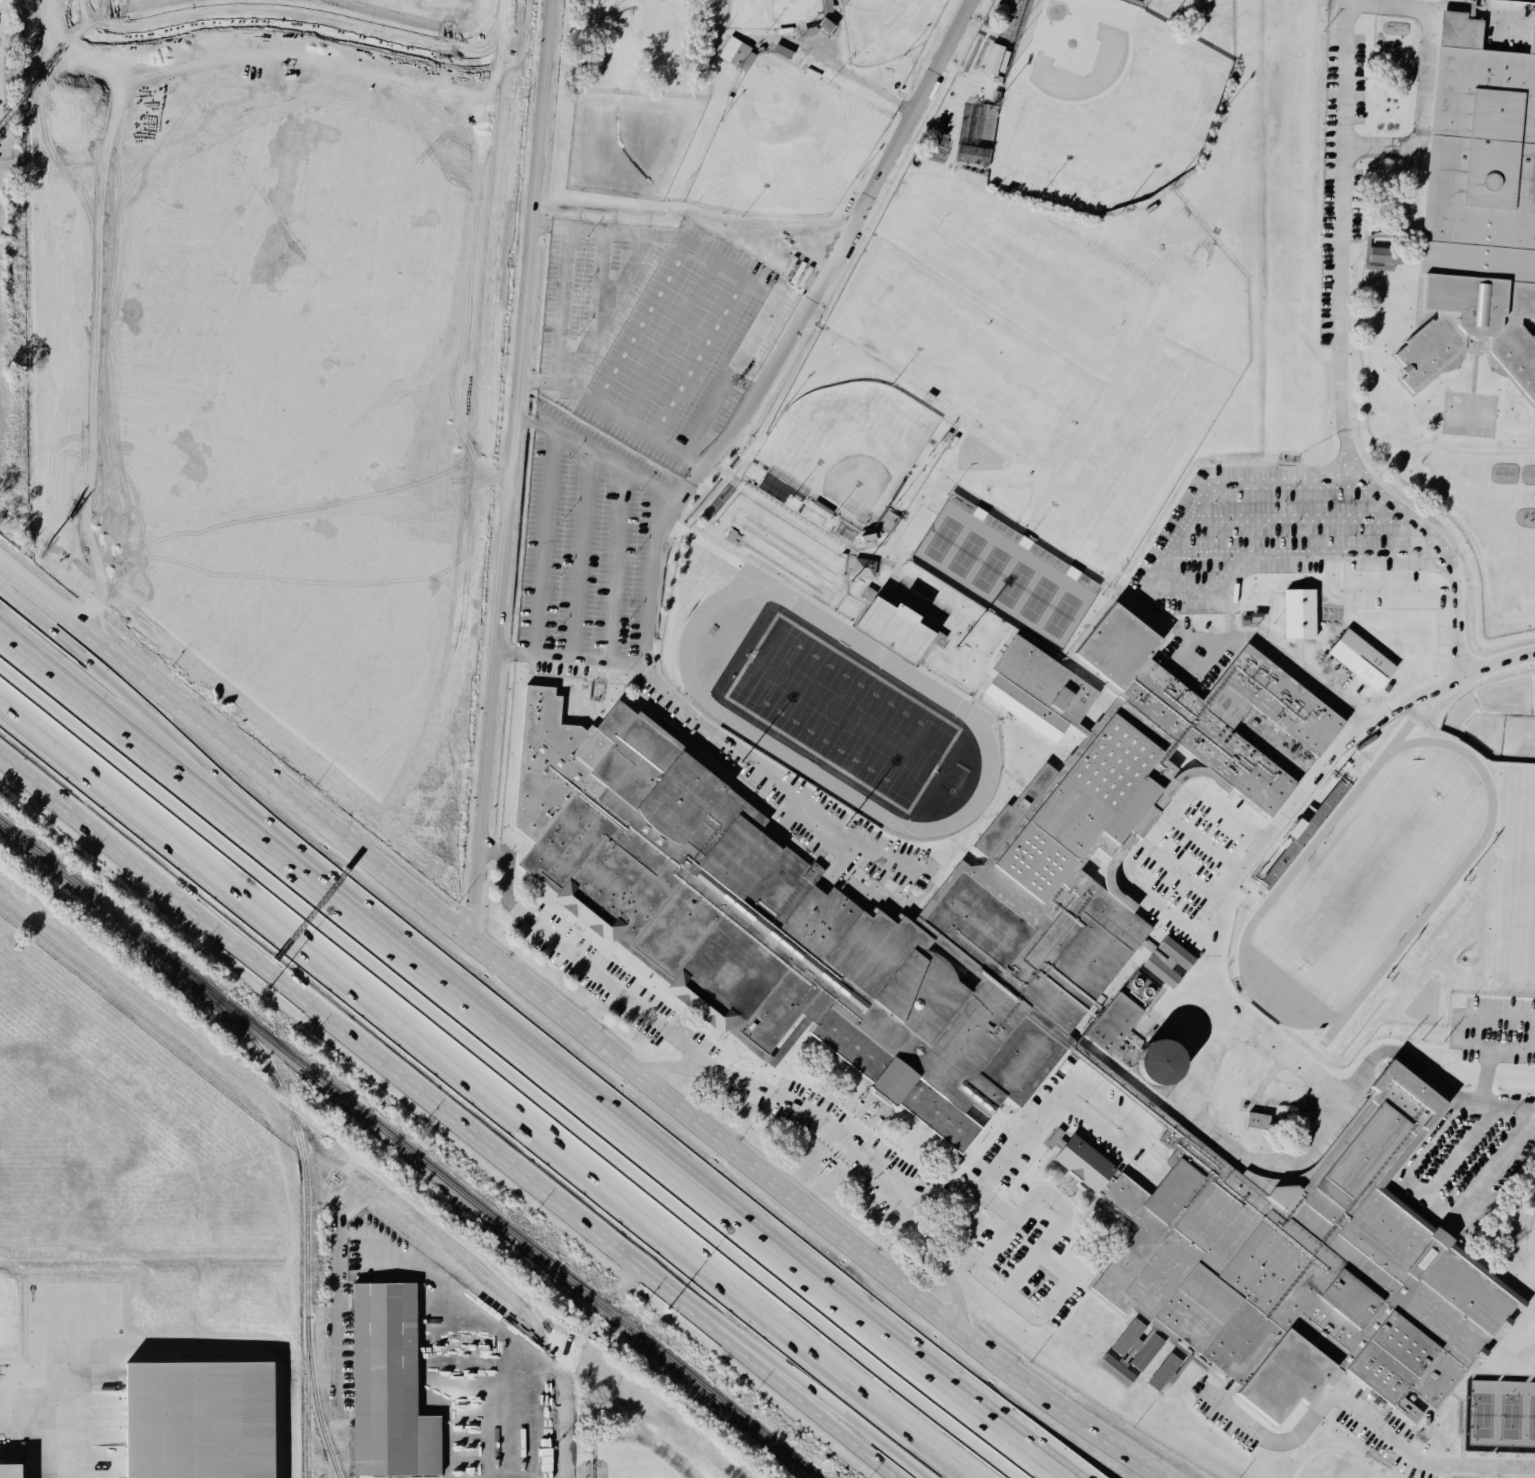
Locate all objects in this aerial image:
road: (2, 1)
road: (1439, 6)
park: (773, 13)
park: (886, 28)
road: (836, 55)
building: (736, 56)
building: (992, 61)
road: (844, 73)
stadium: (1086, 97)
park: (1102, 104)
park: (1295, 113)
road: (1423, 113)
park: (784, 144)
parking lot: (1339, 164)
building: (1478, 207)
park: (1294, 245)
building: (1387, 259)
road: (602, 265)
park: (1028, 271)
road: (564, 297)
road: (603, 309)
road: (636, 321)
parking lot: (656, 331)
road: (668, 340)
road: (749, 342)
road: (698, 358)
park: (973, 358)
road: (1341, 359)
park: (1470, 414)
park: (848, 447)
road: (512, 449)
park: (1130, 450)
road: (597, 453)
stadium: (851, 458)
road: (691, 461)
road: (692, 478)
road: (1429, 493)
road: (1293, 518)
parking lot: (1272, 534)
parking lot: (588, 541)
road: (546, 542)
road: (580, 554)
road: (1201, 555)
road: (613, 564)
building: (862, 569)
park: (1003, 577)
road: (1180, 592)
building: (1300, 613)
building: (895, 630)
building: (935, 639)
road: (1280, 640)
parking lot: (1197, 655)
road: (569, 658)
road: (1307, 659)
building: (1362, 660)
road: (1288, 665)
stadium: (839, 668)
track: (948, 699)
road: (139, 707)
park: (840, 710)
road: (1232, 728)
building: (1367, 743)
road: (130, 744)
parking lot: (705, 744)
road: (1221, 777)
road: (1325, 783)
road: (1157, 829)
road: (1093, 851)
park: (1515, 852)
road: (1217, 854)
road: (1294, 857)
road: (845, 861)
parking lot: (1203, 866)
parking lot: (899, 869)
building: (677, 878)
road: (1194, 885)
road: (919, 886)
park: (1368, 889)
road: (557, 942)
building: (1170, 963)
parking lot: (607, 980)
road: (1185, 991)
road: (318, 1009)
road: (1463, 1013)
road: (578, 1024)
parking lot: (1494, 1029)
building: (787, 1044)
road: (1513, 1045)
building: (1161, 1062)
road: (1487, 1072)
road: (1267, 1080)
road: (492, 1087)
road: (1058, 1096)
road: (802, 1108)
road: (883, 1111)
building: (1257, 1120)
road: (1316, 1138)
railway: (405, 1152)
road: (1419, 1153)
road: (860, 1159)
road: (656, 1164)
road: (365, 1169)
railway: (364, 1183)
building: (1275, 1186)
railway: (303, 1197)
road: (1021, 1215)
road: (1438, 1218)
parking lot: (1031, 1250)
building: (1305, 1266)
road: (625, 1283)
road: (1045, 1294)
road: (676, 1299)
road: (193, 1345)
building: (1137, 1345)
building: (1115, 1372)
building: (1164, 1374)
road: (529, 1378)
building: (385, 1379)
road: (567, 1395)
road: (806, 1404)
road: (818, 1404)
railway: (316, 1405)
road: (1355, 1410)
park: (1500, 1417)
parking lot: (1367, 1419)
building: (193, 1421)
road: (49, 1440)
park: (657, 1440)
road: (496, 1444)
road: (602, 1453)
track: (1329, 1462)
road: (658, 1469)
building: (8, 1472)

